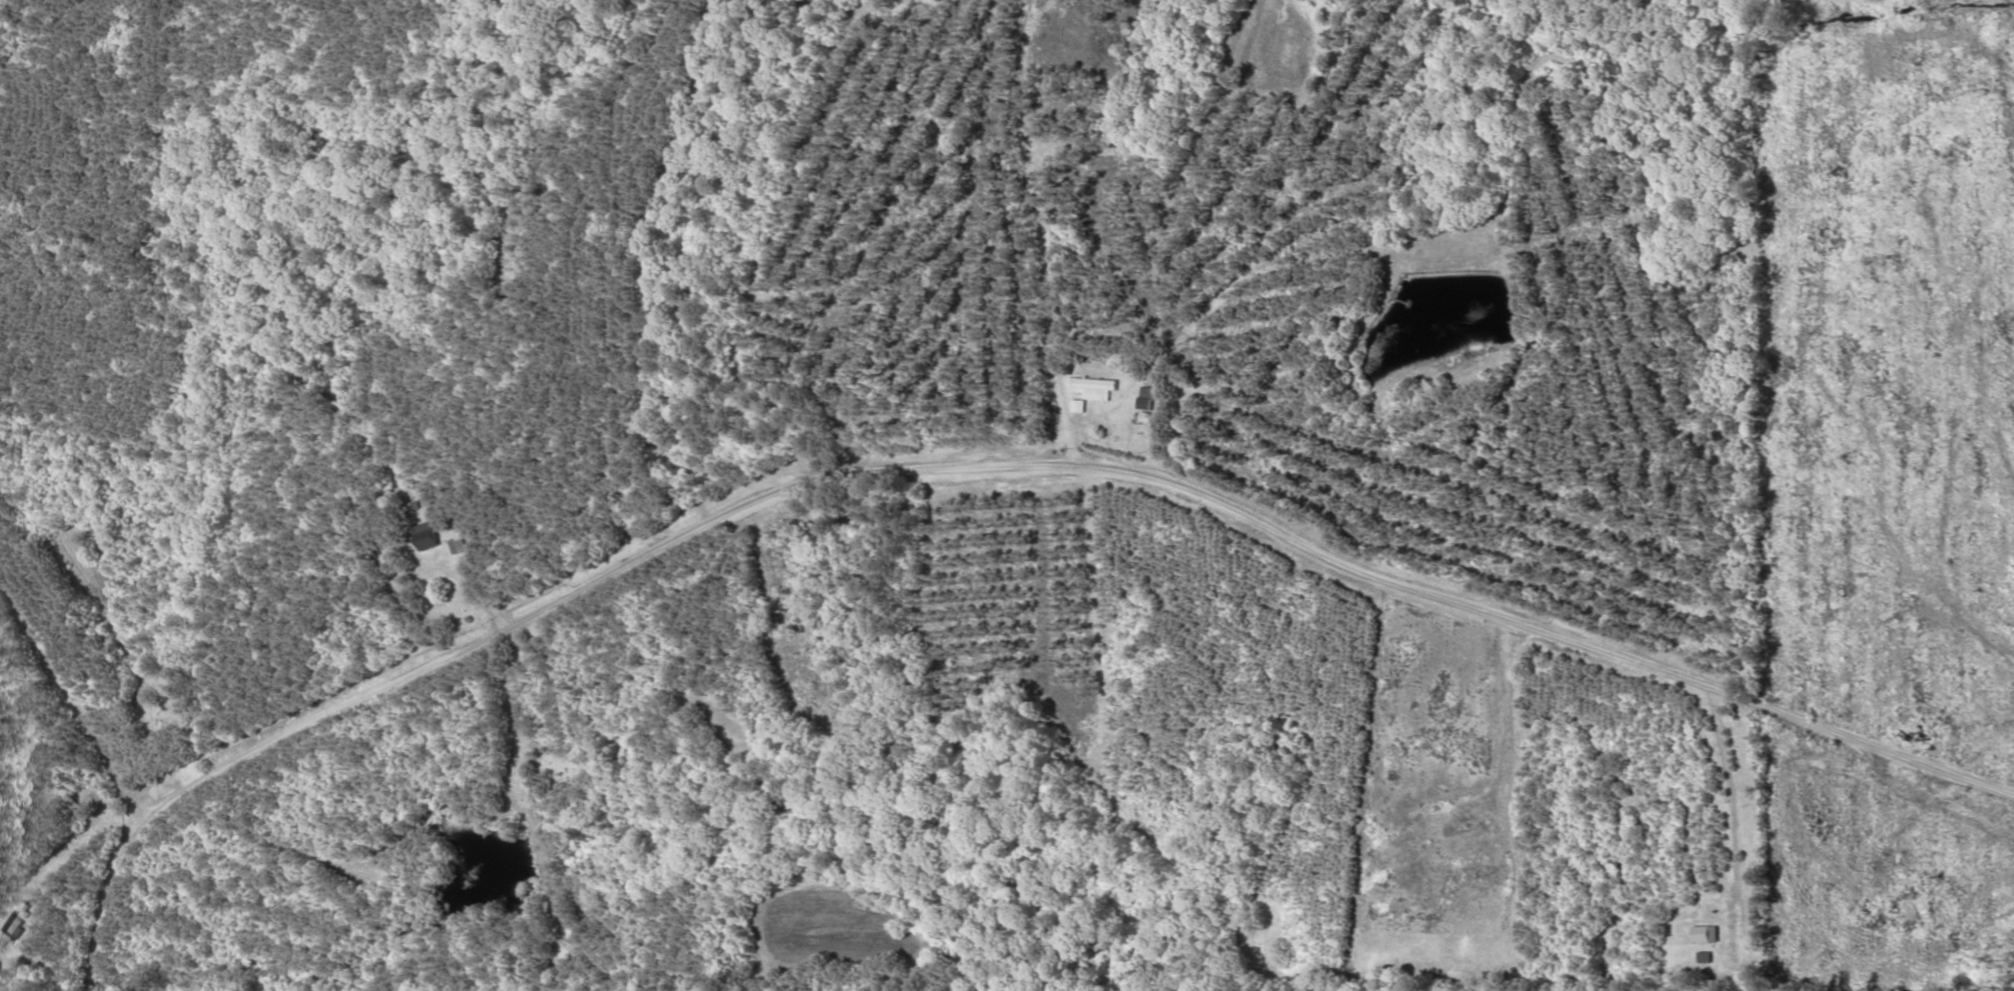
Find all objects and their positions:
building: (1092, 391)
building: (1147, 398)
road: (1008, 465)
building: (428, 536)
building: (461, 545)
building: (13, 926)
road: (139, 985)

